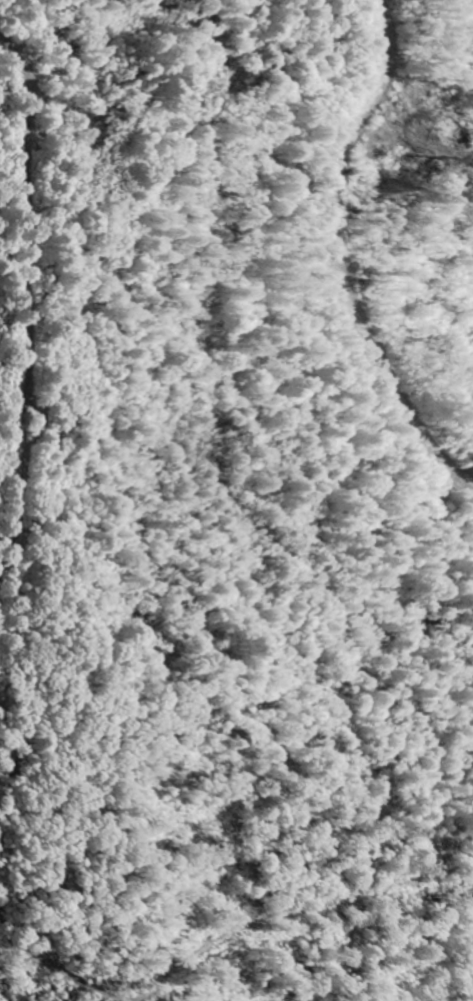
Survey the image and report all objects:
road: (350, 250)

